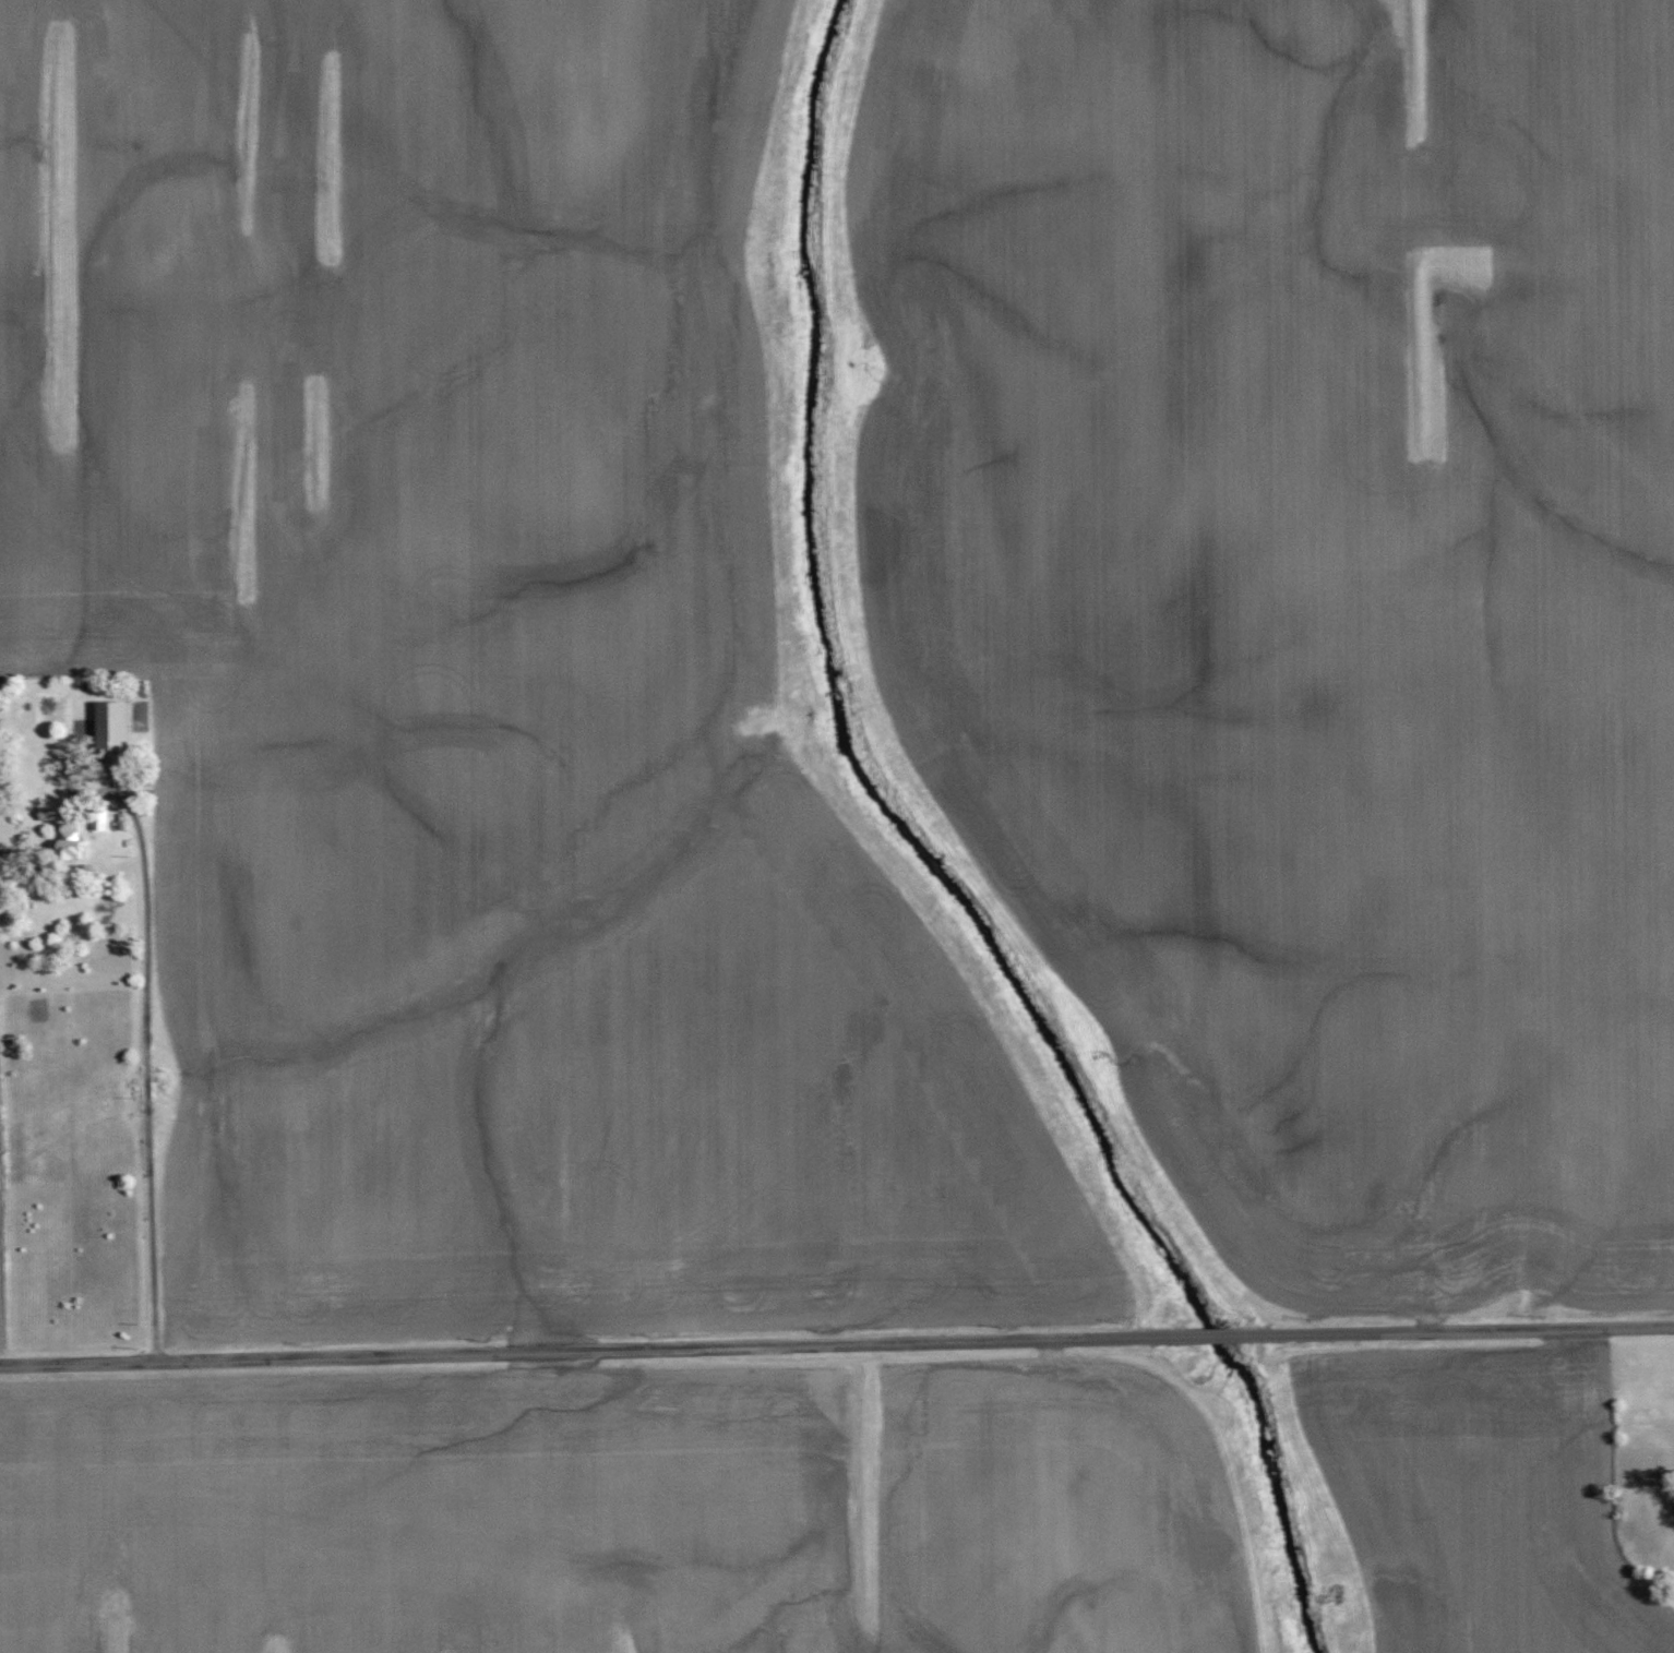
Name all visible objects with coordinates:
building: (76, 837)
road: (152, 1080)
road: (1451, 1328)
road: (1208, 1332)
road: (593, 1347)

